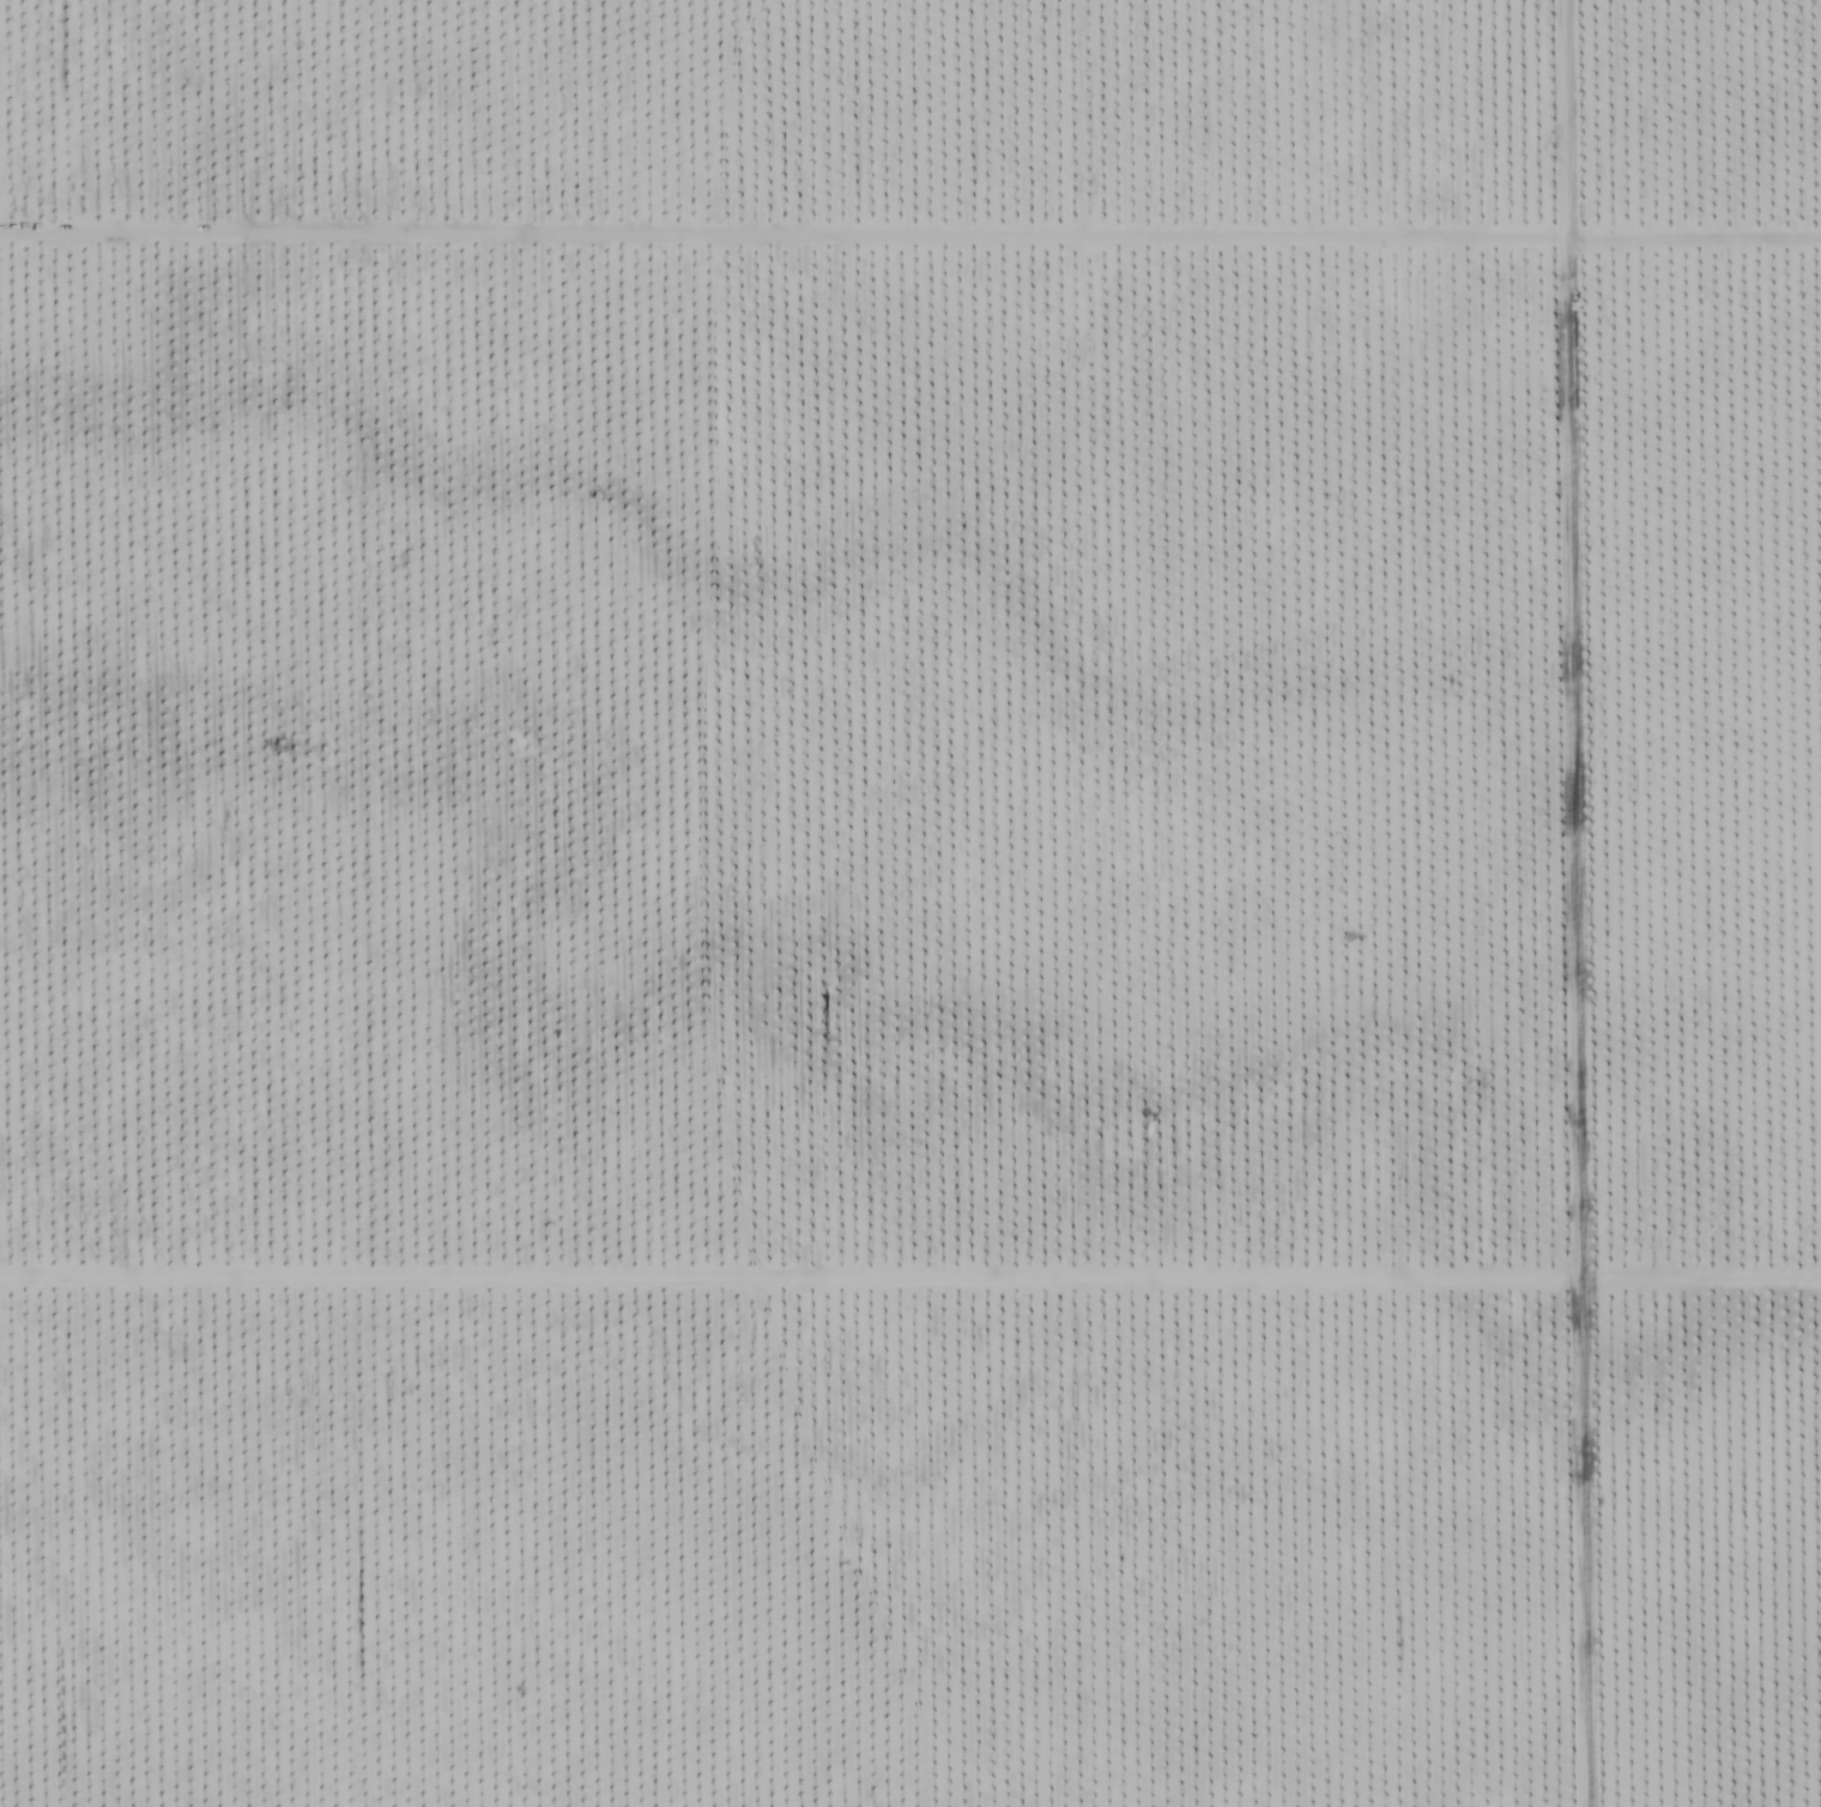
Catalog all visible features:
crop: (1704, 418)
crop: (1763, 1721)

